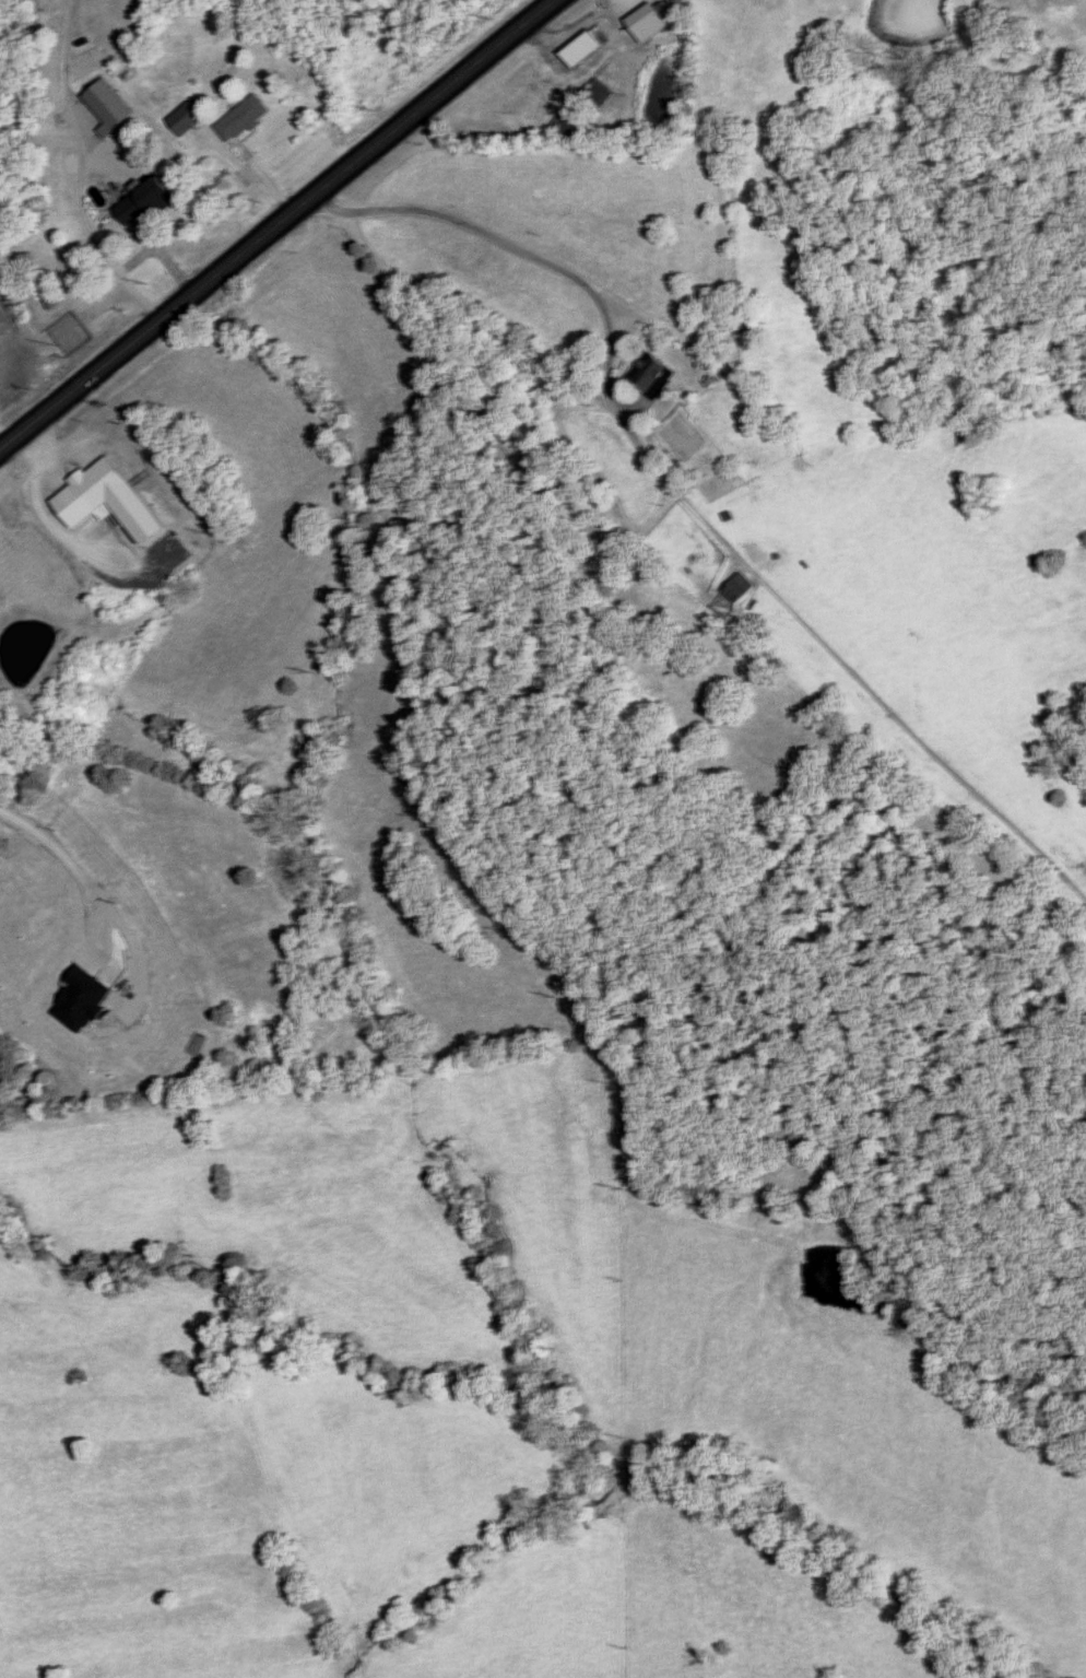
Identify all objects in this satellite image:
building: (648, 23)
building: (585, 48)
building: (598, 93)
building: (246, 119)
building: (188, 120)
building: (568, 124)
building: (145, 200)
road: (275, 223)
building: (652, 375)
building: (108, 500)
building: (740, 587)

